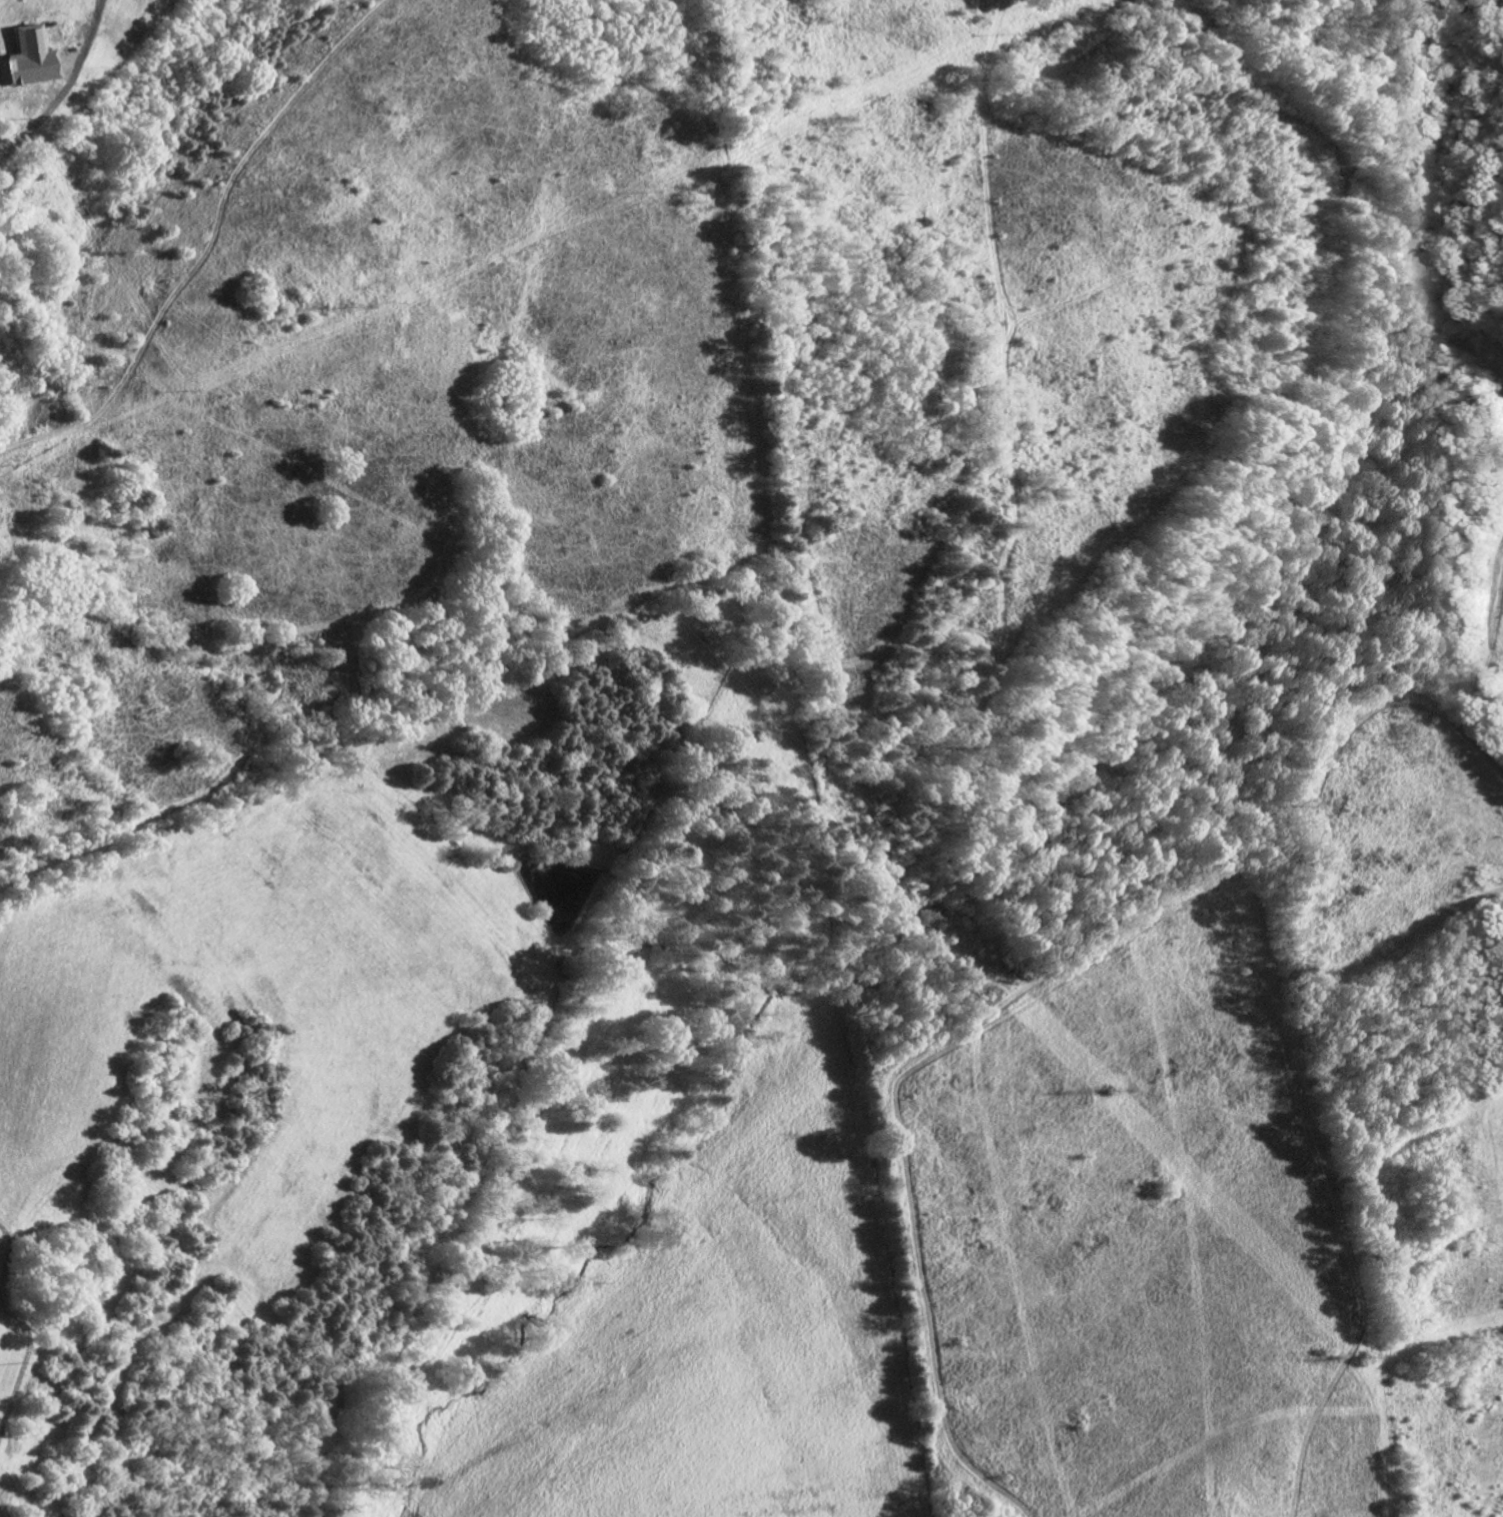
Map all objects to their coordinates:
road: (1013, 1)
building: (25, 62)
road: (65, 86)
road: (201, 241)
power tower: (347, 306)
road: (1491, 603)
power tower: (641, 606)
road: (914, 677)
power tower: (1107, 1089)
road: (1384, 1263)
power tower: (1365, 1356)

